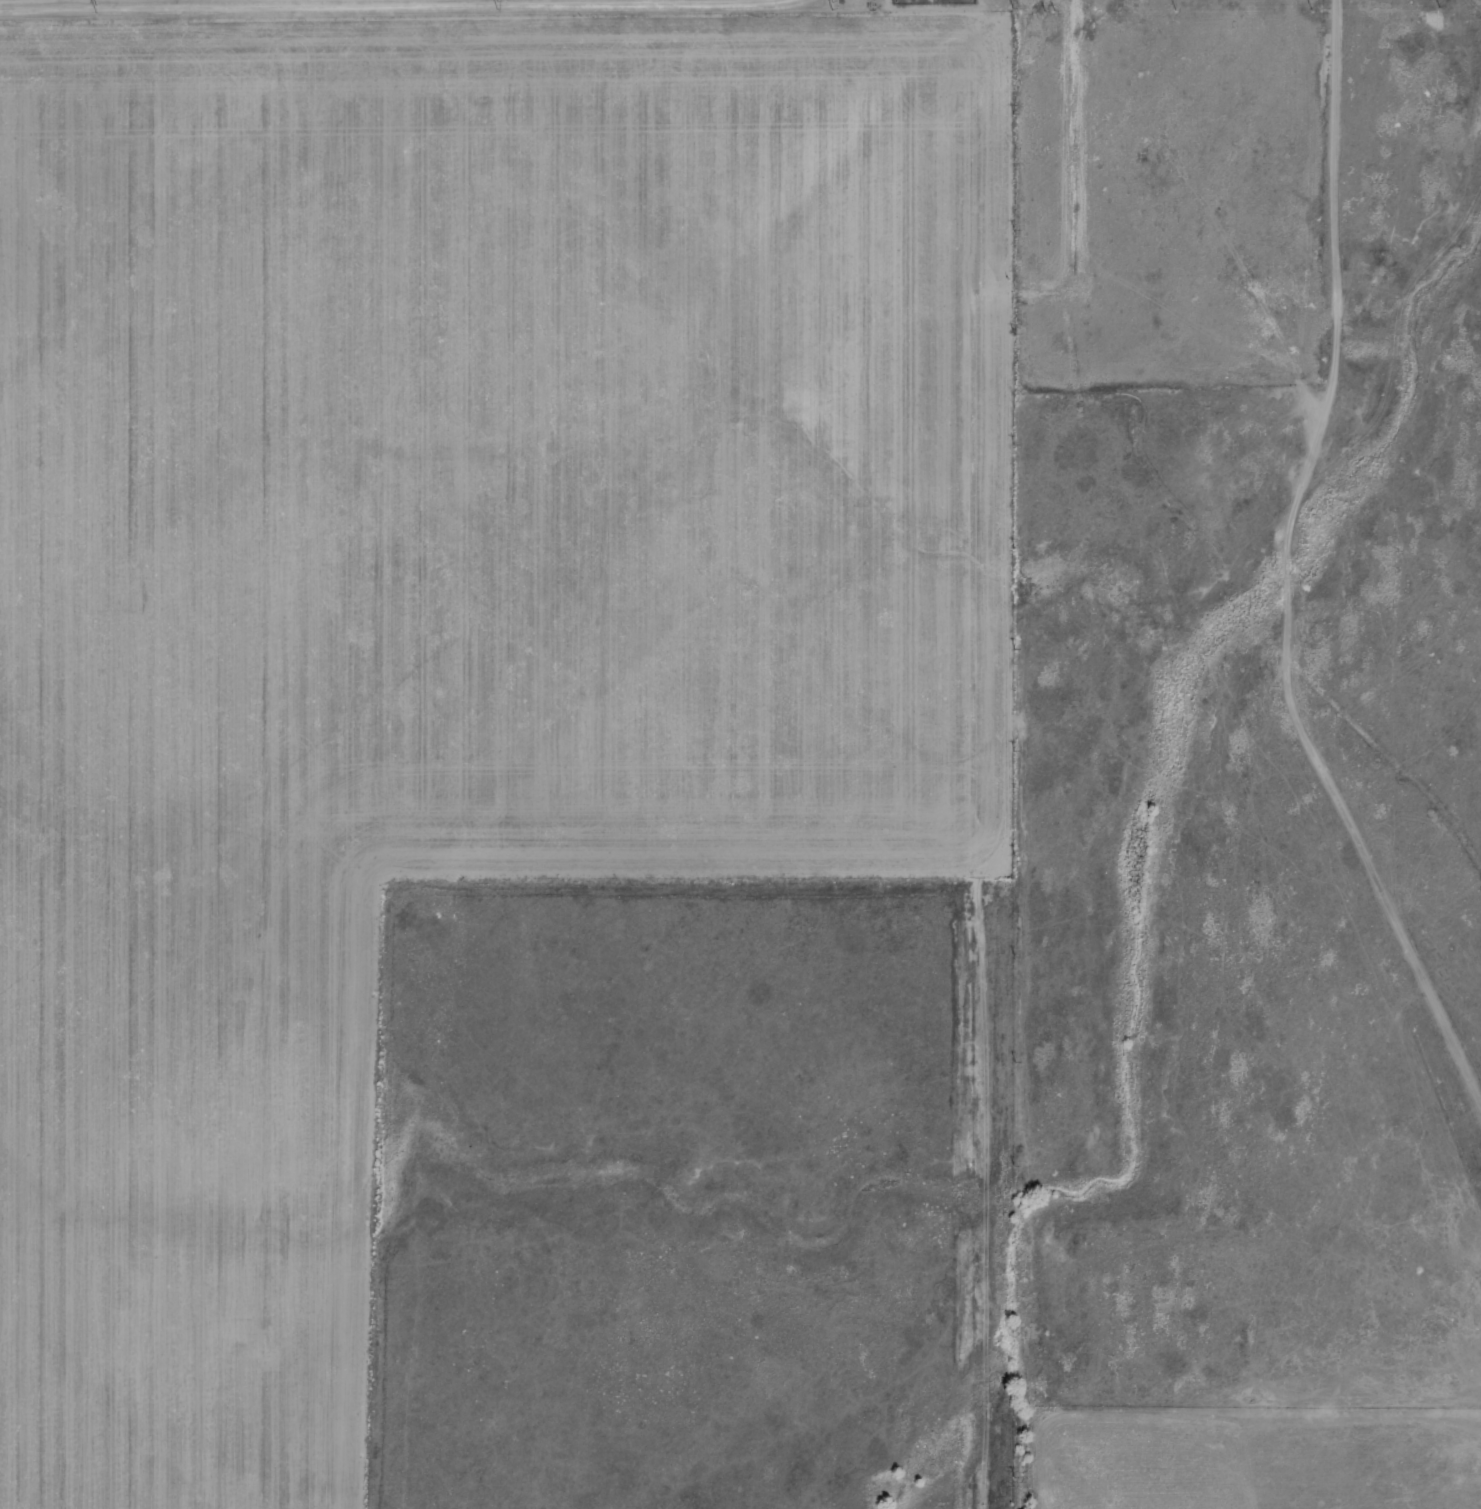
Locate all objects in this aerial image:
power tower: (831, 0)
power substation: (931, 1)
power tower: (497, 3)
power tower: (94, 8)

